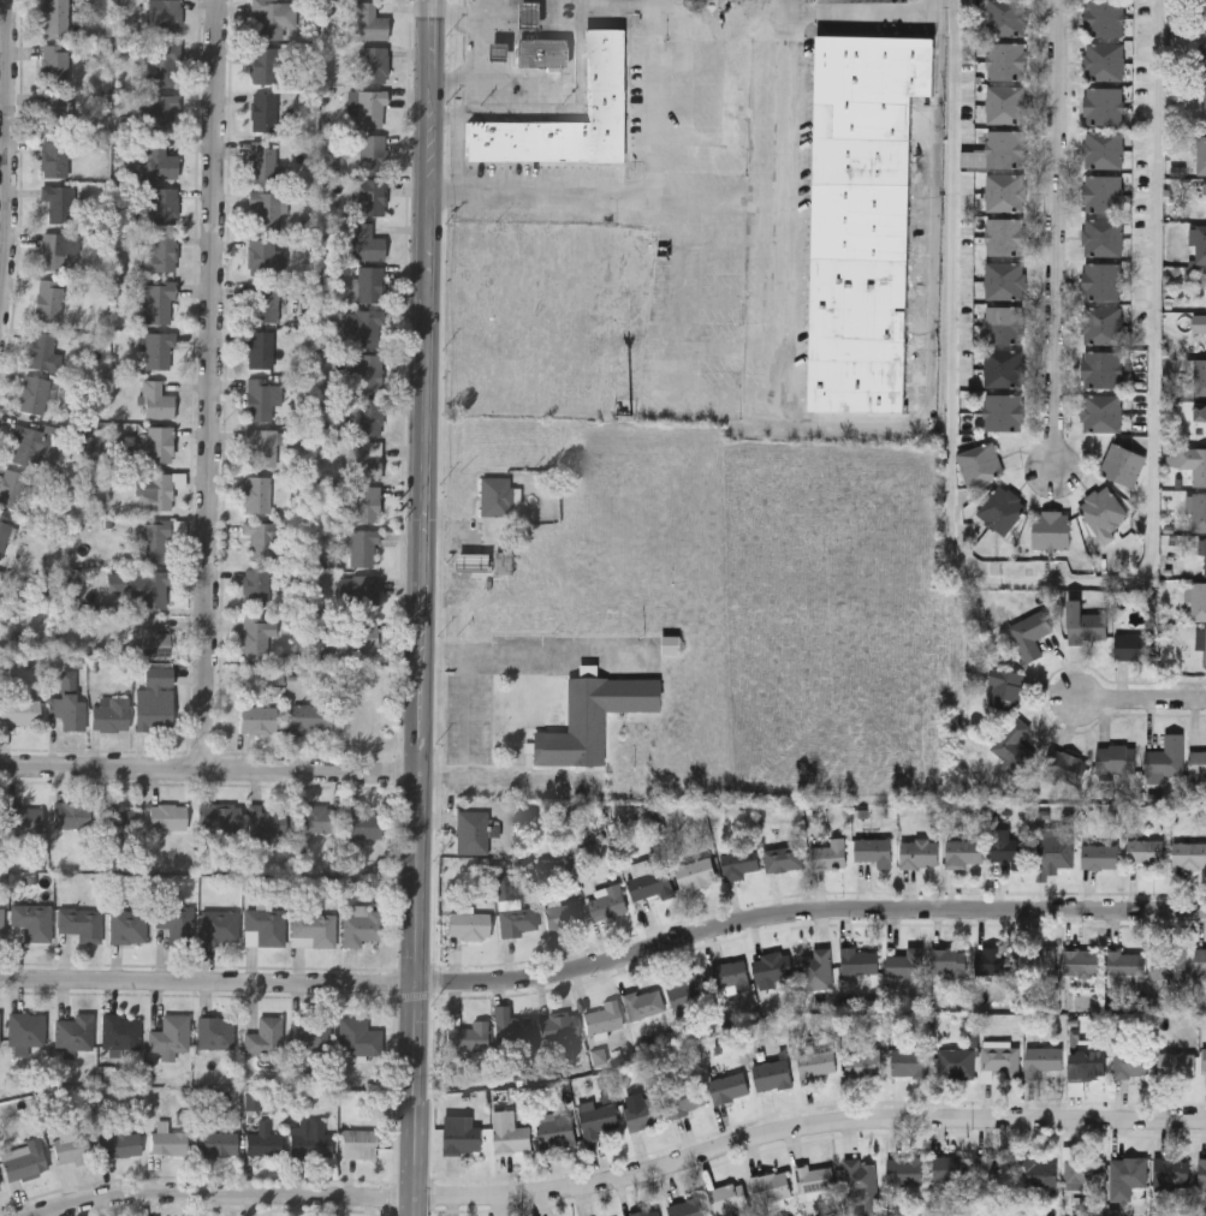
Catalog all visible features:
road: (480, 12)
road: (872, 13)
building: (166, 17)
building: (272, 17)
building: (524, 17)
gas station: (524, 17)
building: (1008, 17)
building: (1105, 17)
building: (54, 18)
building: (368, 20)
road: (473, 48)
building: (494, 54)
building: (541, 55)
building: (1006, 59)
building: (1105, 60)
building: (1202, 62)
building: (54, 64)
building: (373, 64)
building: (263, 65)
building: (161, 66)
building: (607, 77)
building: (1205, 97)
building: (1005, 103)
building: (1104, 105)
building: (364, 107)
building: (161, 112)
building: (262, 112)
building: (54, 113)
building: (867, 143)
building: (1006, 147)
building: (1104, 148)
building: (370, 151)
building: (1201, 153)
road: (12, 159)
building: (54, 159)
building: (262, 161)
building: (159, 163)
road: (789, 166)
building: (1006, 191)
building: (1104, 192)
building: (368, 196)
road: (640, 197)
building: (58, 202)
building: (153, 204)
building: (263, 210)
building: (1005, 236)
road: (1053, 236)
building: (1103, 236)
building: (1199, 242)
building: (366, 243)
building: (58, 251)
building: (159, 252)
building: (260, 256)
building: (1005, 279)
building: (1103, 280)
building: (370, 284)
building: (48, 299)
building: (156, 300)
building: (262, 302)
building: (1005, 322)
building: (1101, 323)
building: (367, 327)
building: (158, 348)
building: (260, 348)
building: (42, 351)
building: (1004, 368)
building: (1101, 368)
building: (366, 371)
building: (1200, 376)
road: (214, 385)
building: (32, 394)
building: (260, 397)
building: (156, 400)
building: (1004, 411)
building: (1200, 411)
building: (1103, 412)
building: (366, 417)
building: (160, 443)
building: (29, 445)
building: (261, 446)
building: (364, 459)
building: (1192, 460)
building: (980, 463)
building: (1122, 464)
building: (11, 487)
building: (156, 493)
building: (256, 493)
building: (498, 499)
building: (366, 502)
building: (1002, 508)
building: (1103, 509)
building: (1199, 511)
building: (1052, 529)
building: (262, 537)
building: (154, 541)
building: (362, 547)
building: (1205, 554)
building: (470, 565)
road: (1053, 584)
building: (256, 585)
building: (148, 589)
building: (362, 591)
building: (1199, 600)
road: (424, 608)
building: (1086, 621)
building: (256, 632)
building: (1030, 632)
building: (152, 638)
building: (361, 638)
building: (1136, 644)
building: (1204, 645)
building: (672, 646)
road: (536, 652)
parking lot: (535, 656)
building: (1005, 686)
building: (154, 701)
road: (1143, 701)
building: (67, 710)
building: (19, 711)
building: (109, 714)
building: (309, 717)
building: (257, 720)
parking lot: (471, 722)
building: (592, 722)
road: (468, 743)
building: (1014, 744)
building: (1168, 755)
building: (1117, 757)
building: (1198, 762)
building: (1067, 765)
road: (210, 770)
road: (523, 783)
parking lot: (545, 786)
building: (71, 815)
building: (167, 816)
building: (20, 817)
building: (120, 817)
building: (220, 817)
building: (313, 818)
building: (361, 823)
building: (265, 827)
building: (471, 831)
building: (873, 848)
building: (1009, 850)
building: (919, 851)
building: (964, 851)
building: (1146, 851)
building: (1056, 853)
building: (1189, 853)
building: (830, 854)
building: (1100, 856)
building: (783, 857)
building: (739, 859)
building: (695, 872)
building: (650, 883)
building: (606, 902)
building: (562, 914)
building: (517, 919)
building: (30, 923)
building: (176, 924)
building: (1, 925)
building: (82, 925)
building: (468, 925)
building: (127, 926)
building: (219, 926)
building: (265, 926)
building: (361, 928)
building: (314, 929)
building: (859, 960)
building: (947, 960)
building: (991, 960)
building: (1200, 960)
road: (604, 961)
building: (904, 961)
building: (1081, 961)
building: (1169, 962)
building: (1036, 964)
building: (772, 966)
building: (1124, 966)
building: (818, 967)
building: (729, 974)
building: (687, 988)
building: (644, 1002)
building: (602, 1017)
building: (558, 1026)
building: (25, 1030)
building: (121, 1031)
building: (511, 1031)
building: (0, 1032)
building: (73, 1032)
building: (214, 1032)
building: (310, 1032)
building: (170, 1035)
building: (357, 1036)
building: (467, 1036)
building: (263, 1037)
building: (1204, 1056)
building: (1000, 1059)
building: (1041, 1059)
building: (910, 1060)
building: (816, 1061)
building: (863, 1061)
building: (955, 1061)
building: (1131, 1061)
building: (1088, 1062)
building: (1176, 1062)
building: (771, 1073)
building: (729, 1085)
building: (684, 1096)
building: (642, 1111)
building: (596, 1119)
building: (557, 1129)
building: (510, 1132)
building: (461, 1133)
building: (309, 1139)
building: (167, 1142)
building: (216, 1143)
building: (263, 1143)
building: (360, 1143)
building: (119, 1144)
building: (70, 1149)
building: (23, 1161)
building: (951, 1168)
building: (904, 1169)
building: (993, 1169)
building: (1172, 1170)
building: (1201, 1170)
building: (1036, 1172)
building: (1082, 1172)
building: (1128, 1172)
road: (626, 1176)
building: (860, 1176)
building: (814, 1178)
building: (770, 1185)
building: (0, 1188)
building: (727, 1197)
building: (687, 1206)
building: (644, 1212)

